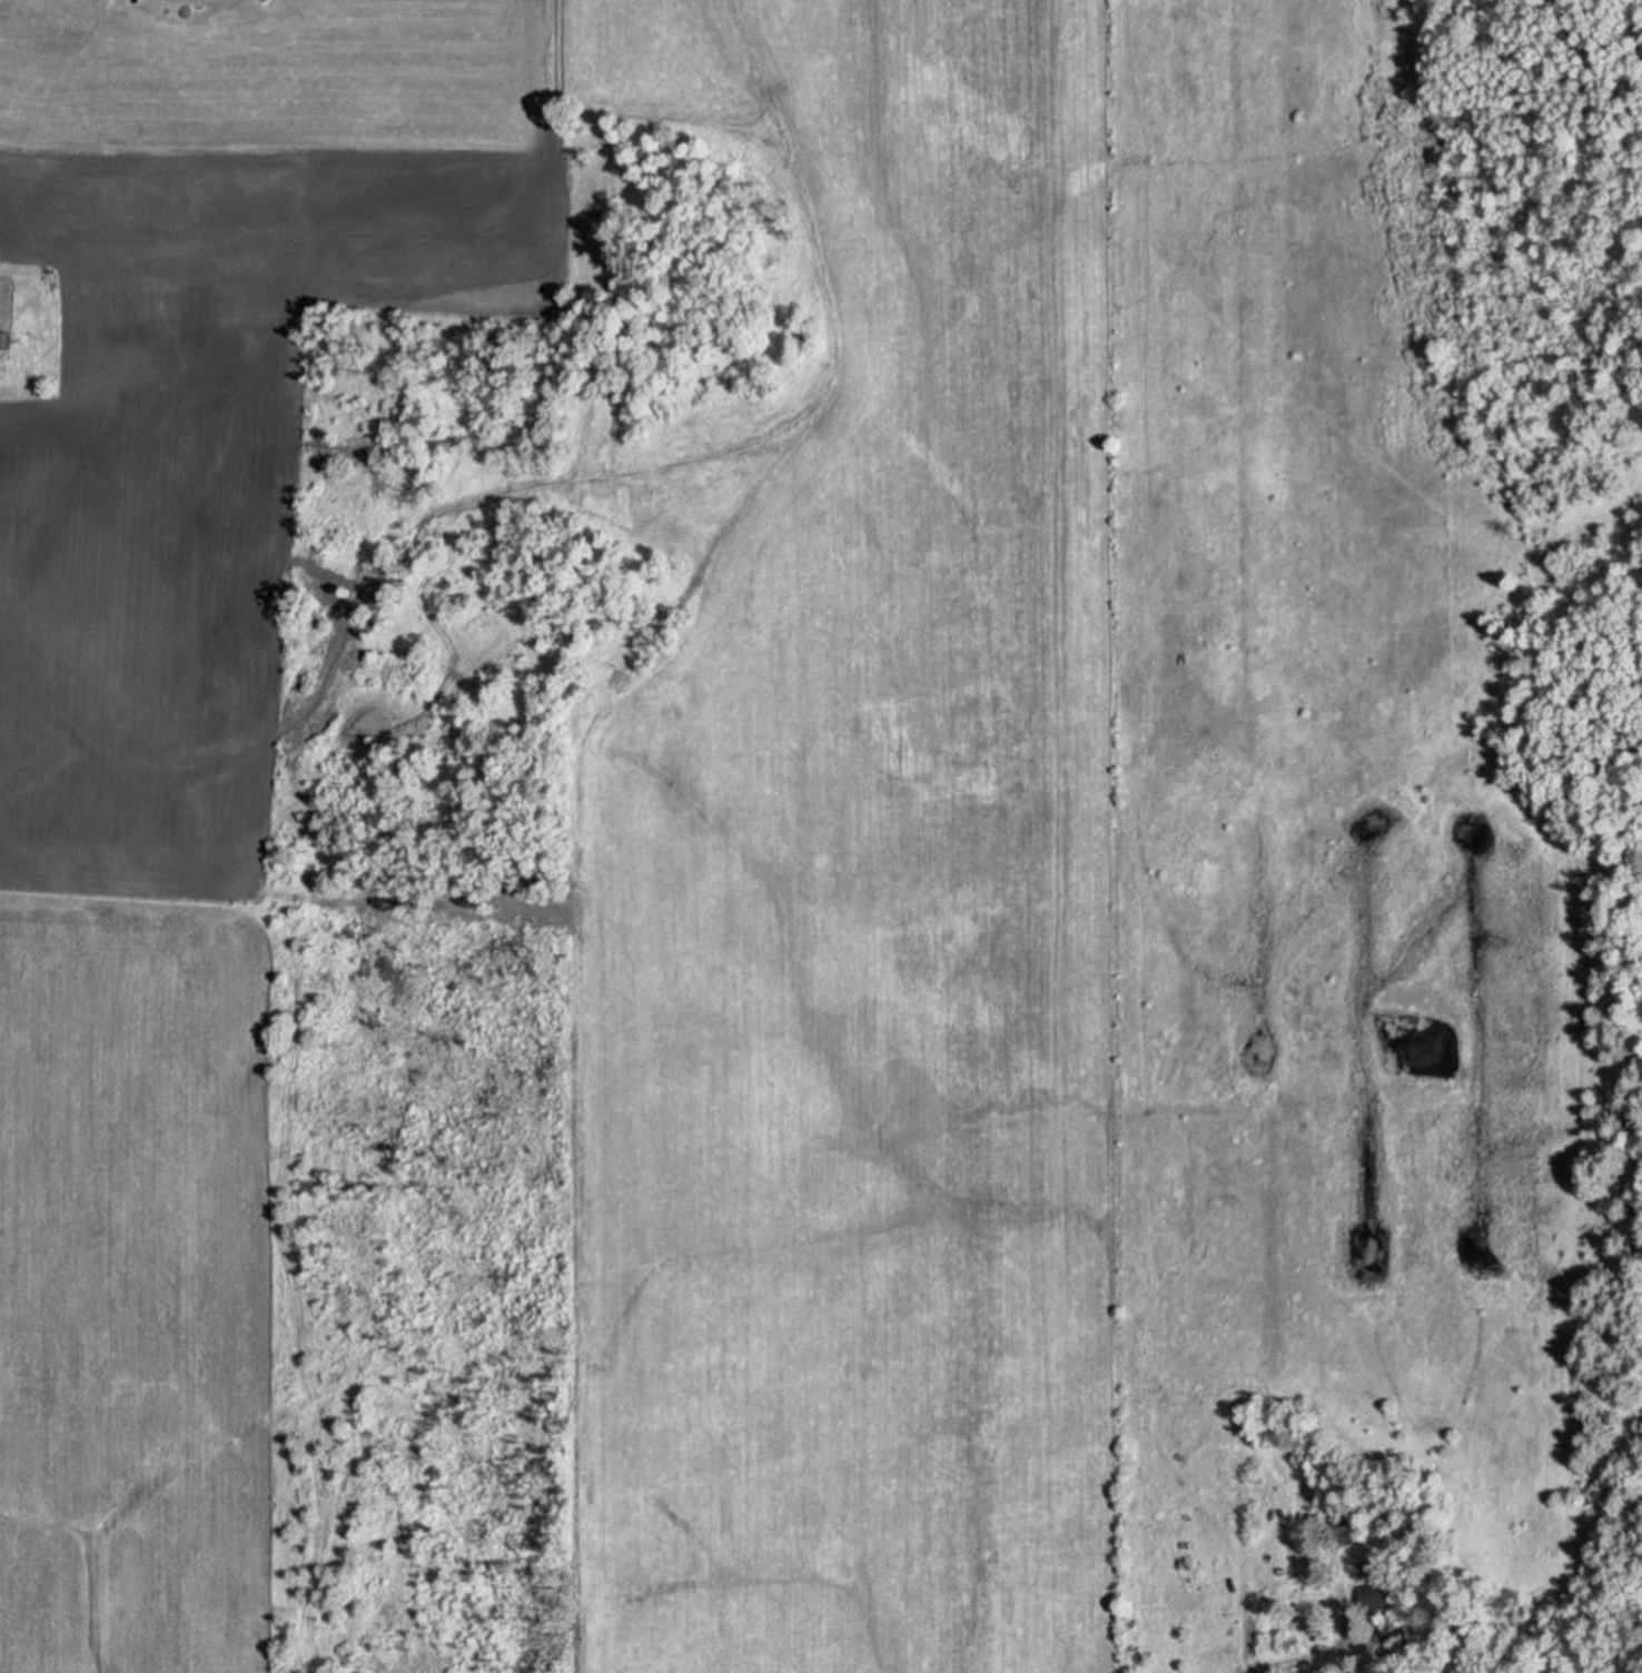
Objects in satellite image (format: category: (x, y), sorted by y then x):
building: (3, 339)
building: (1348, 1534)
building: (1351, 1563)
building: (1371, 1566)
building: (1379, 1594)
building: (1288, 1625)
building: (1399, 1630)

